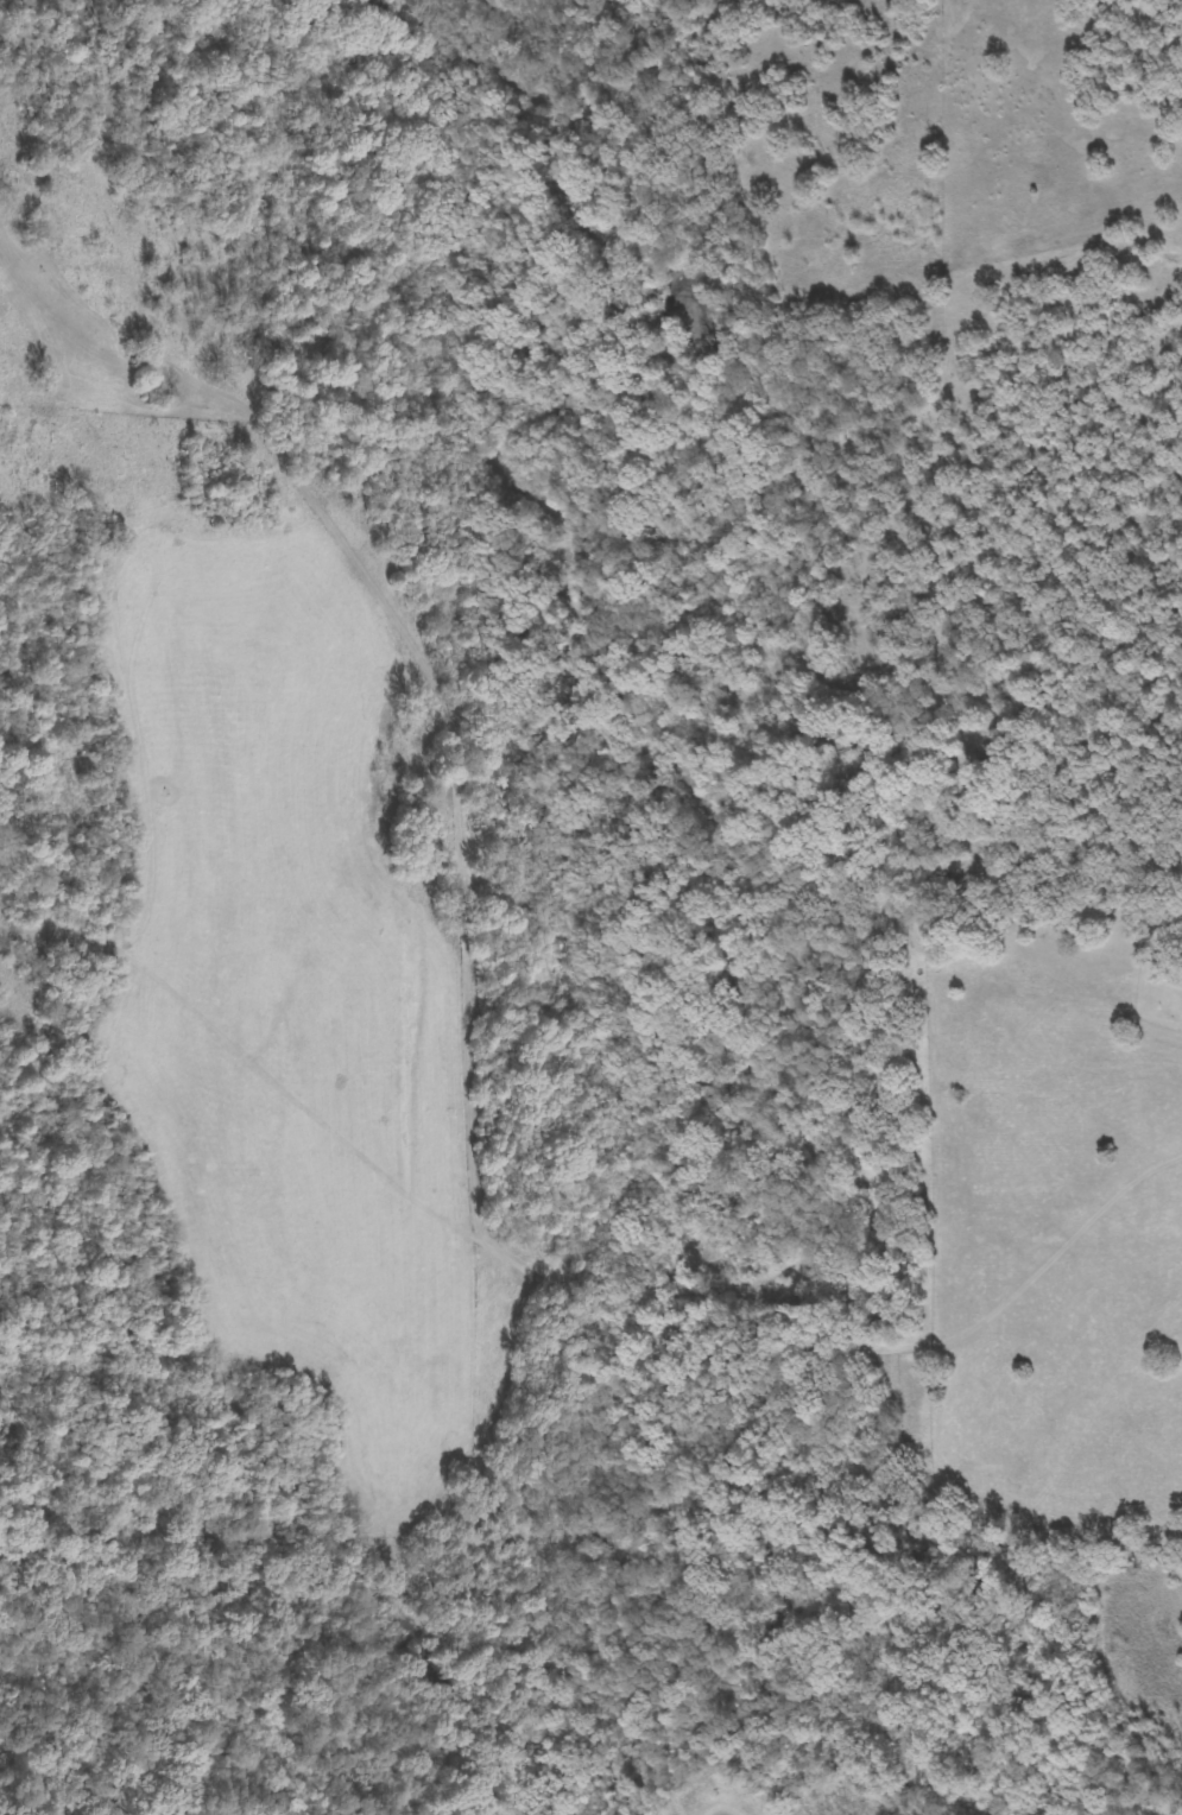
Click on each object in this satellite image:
building: (1181, 937)

